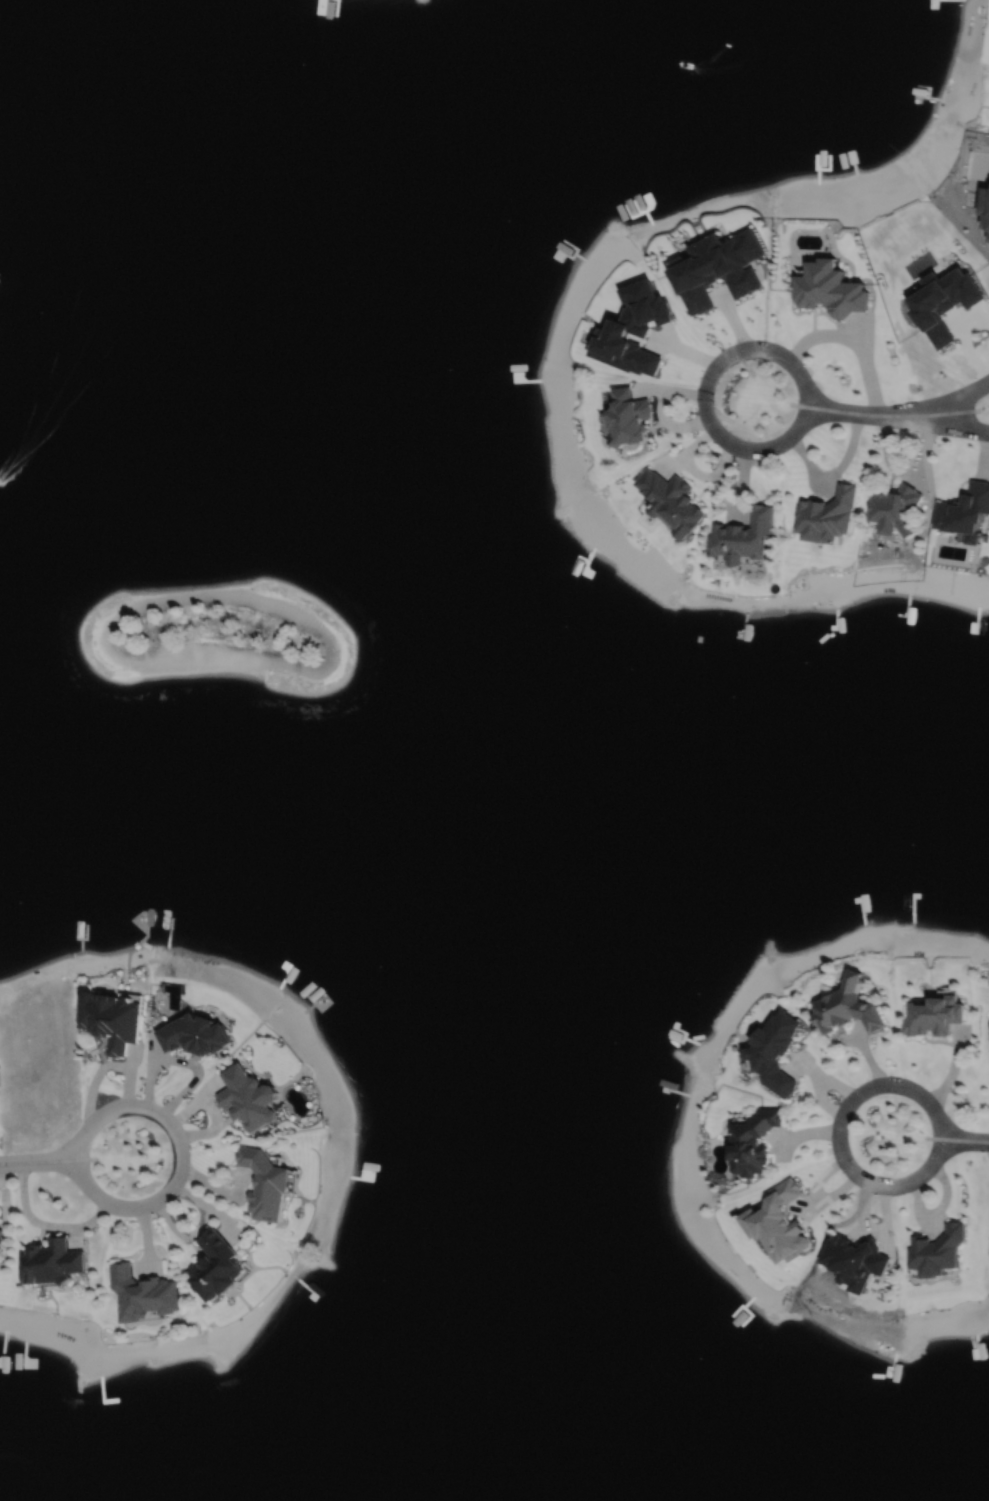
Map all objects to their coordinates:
building: (718, 270)
building: (829, 291)
building: (943, 305)
building: (632, 327)
road: (859, 341)
road: (703, 392)
road: (941, 404)
building: (629, 416)
road: (897, 416)
building: (671, 500)
building: (893, 509)
building: (965, 511)
building: (827, 515)
building: (744, 536)
building: (847, 1004)
building: (933, 1014)
building: (113, 1018)
building: (195, 1032)
building: (775, 1050)
building: (249, 1095)
road: (837, 1130)
building: (753, 1141)
road: (963, 1141)
road: (180, 1154)
road: (38, 1160)
building: (266, 1182)
road: (44, 1222)
building: (780, 1222)
building: (2, 1230)
building: (0, 1243)
building: (937, 1250)
building: (53, 1260)
building: (857, 1260)
building: (217, 1265)
building: (143, 1292)

